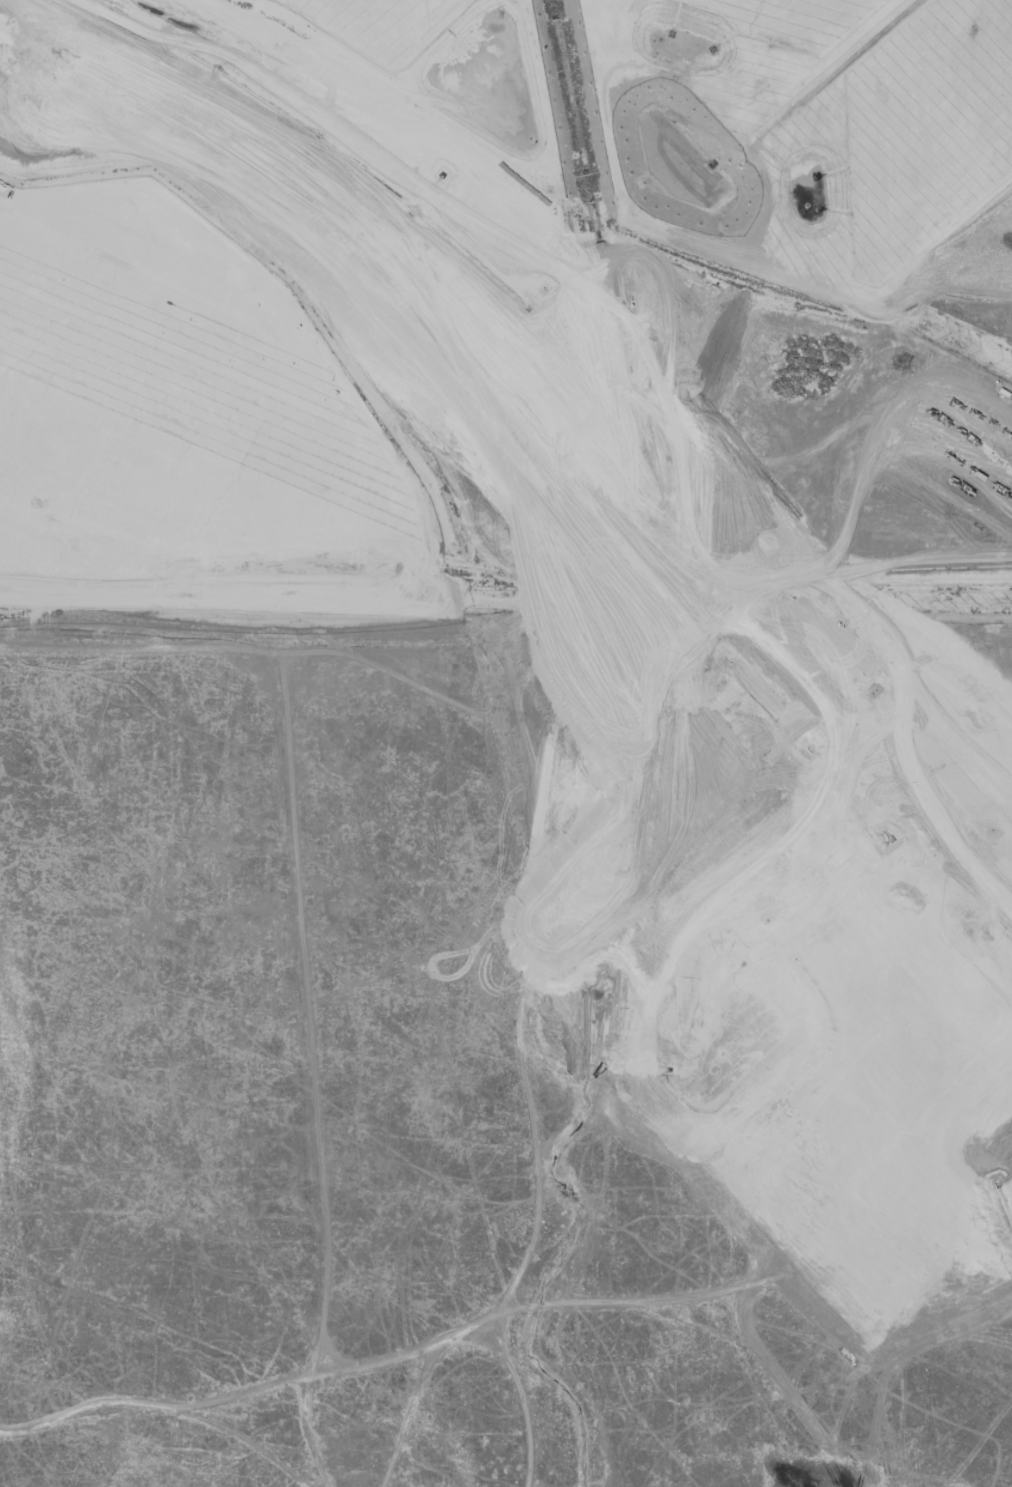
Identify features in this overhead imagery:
building: (431, 63)
road: (211, 604)
road: (139, 650)
road: (514, 981)
road: (308, 1023)
road: (479, 1323)
road: (753, 1352)
road: (982, 1362)
road: (408, 1416)
road: (308, 1436)

